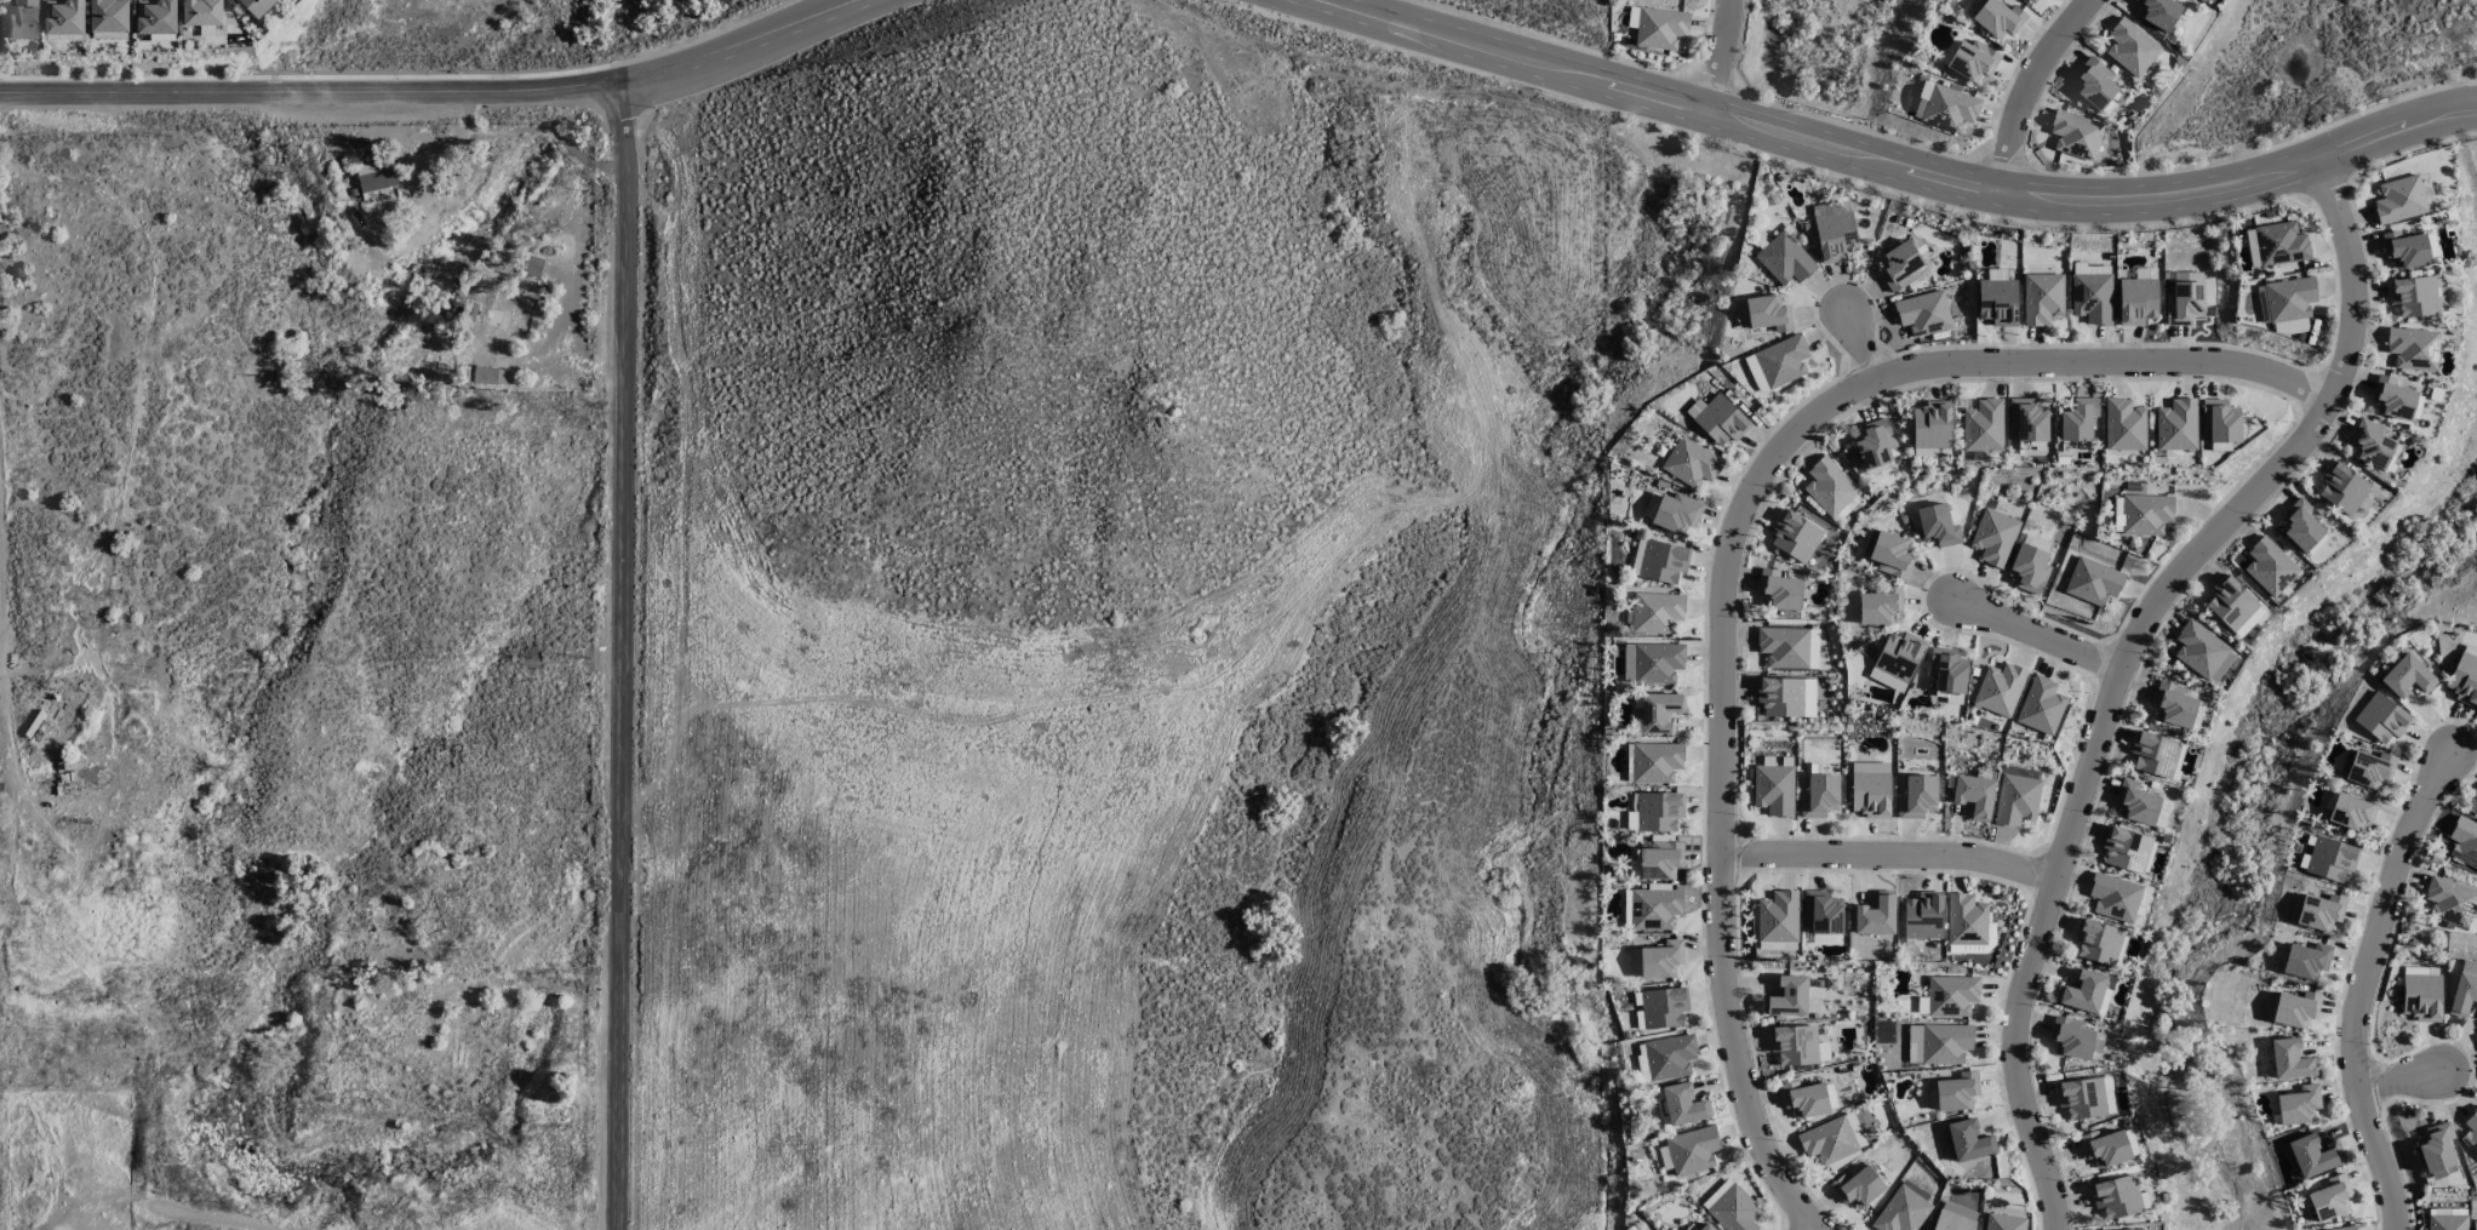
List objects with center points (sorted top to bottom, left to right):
building: (2030, 0)
building: (258, 6)
building: (202, 12)
building: (2159, 12)
building: (110, 16)
building: (156, 16)
building: (64, 17)
building: (1998, 18)
building: (21, 19)
building: (1660, 28)
building: (2130, 46)
road: (1721, 58)
building: (1972, 59)
building: (2096, 86)
road: (2026, 90)
road: (435, 93)
building: (1945, 107)
road: (532, 128)
building: (2076, 135)
road: (440, 148)
road: (1888, 168)
building: (376, 175)
building: (2399, 199)
building: (2281, 244)
building: (2432, 247)
building: (2252, 248)
building: (2406, 250)
building: (1785, 259)
building: (1901, 267)
building: (1996, 274)
building: (2092, 292)
building: (2441, 294)
building: (2413, 296)
building: (2042, 298)
building: (2289, 298)
building: (2138, 301)
building: (1998, 302)
building: (2185, 302)
building: (1768, 313)
building: (1923, 313)
building: (1740, 314)
building: (2290, 326)
road: (1858, 348)
building: (2413, 348)
building: (1783, 360)
road: (549, 362)
building: (485, 373)
building: (1756, 373)
building: (2392, 397)
building: (2027, 419)
building: (2078, 419)
building: (1721, 421)
building: (2220, 421)
building: (2124, 424)
building: (1932, 425)
building: (1984, 425)
building: (2176, 425)
building: (1875, 444)
building: (2372, 444)
building: (2076, 445)
building: (1691, 463)
building: (1829, 486)
building: (2342, 487)
building: (1677, 513)
building: (2146, 514)
building: (2117, 516)
building: (1938, 525)
building: (2301, 527)
building: (1795, 536)
building: (1995, 537)
road: (1729, 553)
building: (1663, 561)
building: (2270, 566)
building: (2030, 567)
building: (2093, 580)
building: (1779, 590)
building: (1880, 606)
building: (2233, 606)
building: (1657, 612)
road: (2038, 637)
road: (1, 643)
building: (1784, 647)
building: (1813, 648)
building: (2202, 651)
road: (624, 656)
building: (1899, 656)
building: (1658, 662)
road: (1, 663)
building: (1628, 663)
road: (2123, 668)
building: (1949, 670)
building: (2407, 676)
building: (2464, 676)
building: (2000, 688)
building: (1780, 697)
building: (1809, 698)
building: (2174, 704)
building: (2041, 705)
building: (1659, 711)
building: (2381, 717)
building: (2155, 754)
building: (1655, 762)
building: (2366, 767)
building: (1774, 789)
building: (1870, 794)
building: (1974, 795)
building: (1820, 796)
building: (1917, 796)
building: (2017, 800)
building: (2136, 802)
building: (1659, 811)
building: (2351, 812)
building: (2464, 841)
building: (2126, 848)
road: (1888, 857)
building: (1661, 859)
building: (2330, 859)
building: (2115, 897)
building: (2449, 900)
building: (1655, 908)
building: (1823, 911)
building: (2319, 911)
building: (1876, 915)
building: (1923, 916)
building: (1778, 917)
building: (1966, 920)
building: (2098, 940)
building: (1661, 959)
building: (2306, 960)
building: (1635, 963)
road: (2363, 985)
building: (2082, 991)
building: (2464, 994)
building: (1951, 995)
building: (1787, 996)
building: (2422, 996)
building: (1660, 1007)
building: (2292, 1008)
building: (2073, 1037)
building: (1945, 1042)
building: (1915, 1043)
building: (1795, 1045)
building: (1670, 1057)
building: (2290, 1059)
road: (2403, 1082)
building: (1956, 1092)
building: (2086, 1097)
building: (1804, 1099)
building: (1684, 1104)
building: (2299, 1105)
building: (2471, 1132)
building: (1832, 1138)
building: (1969, 1140)
building: (2106, 1148)
building: (1692, 1150)
building: (2437, 1150)
building: (2311, 1156)
building: (1858, 1188)
building: (1716, 1194)
building: (2117, 1196)
building: (2329, 1198)
building: (1735, 1209)
building: (1904, 1209)
building: (1953, 1218)
building: (2003, 1222)
building: (2447, 1222)
building: (2475, 1224)
building: (1700, 1226)
building: (2345, 1228)
building: (2139, 1229)

